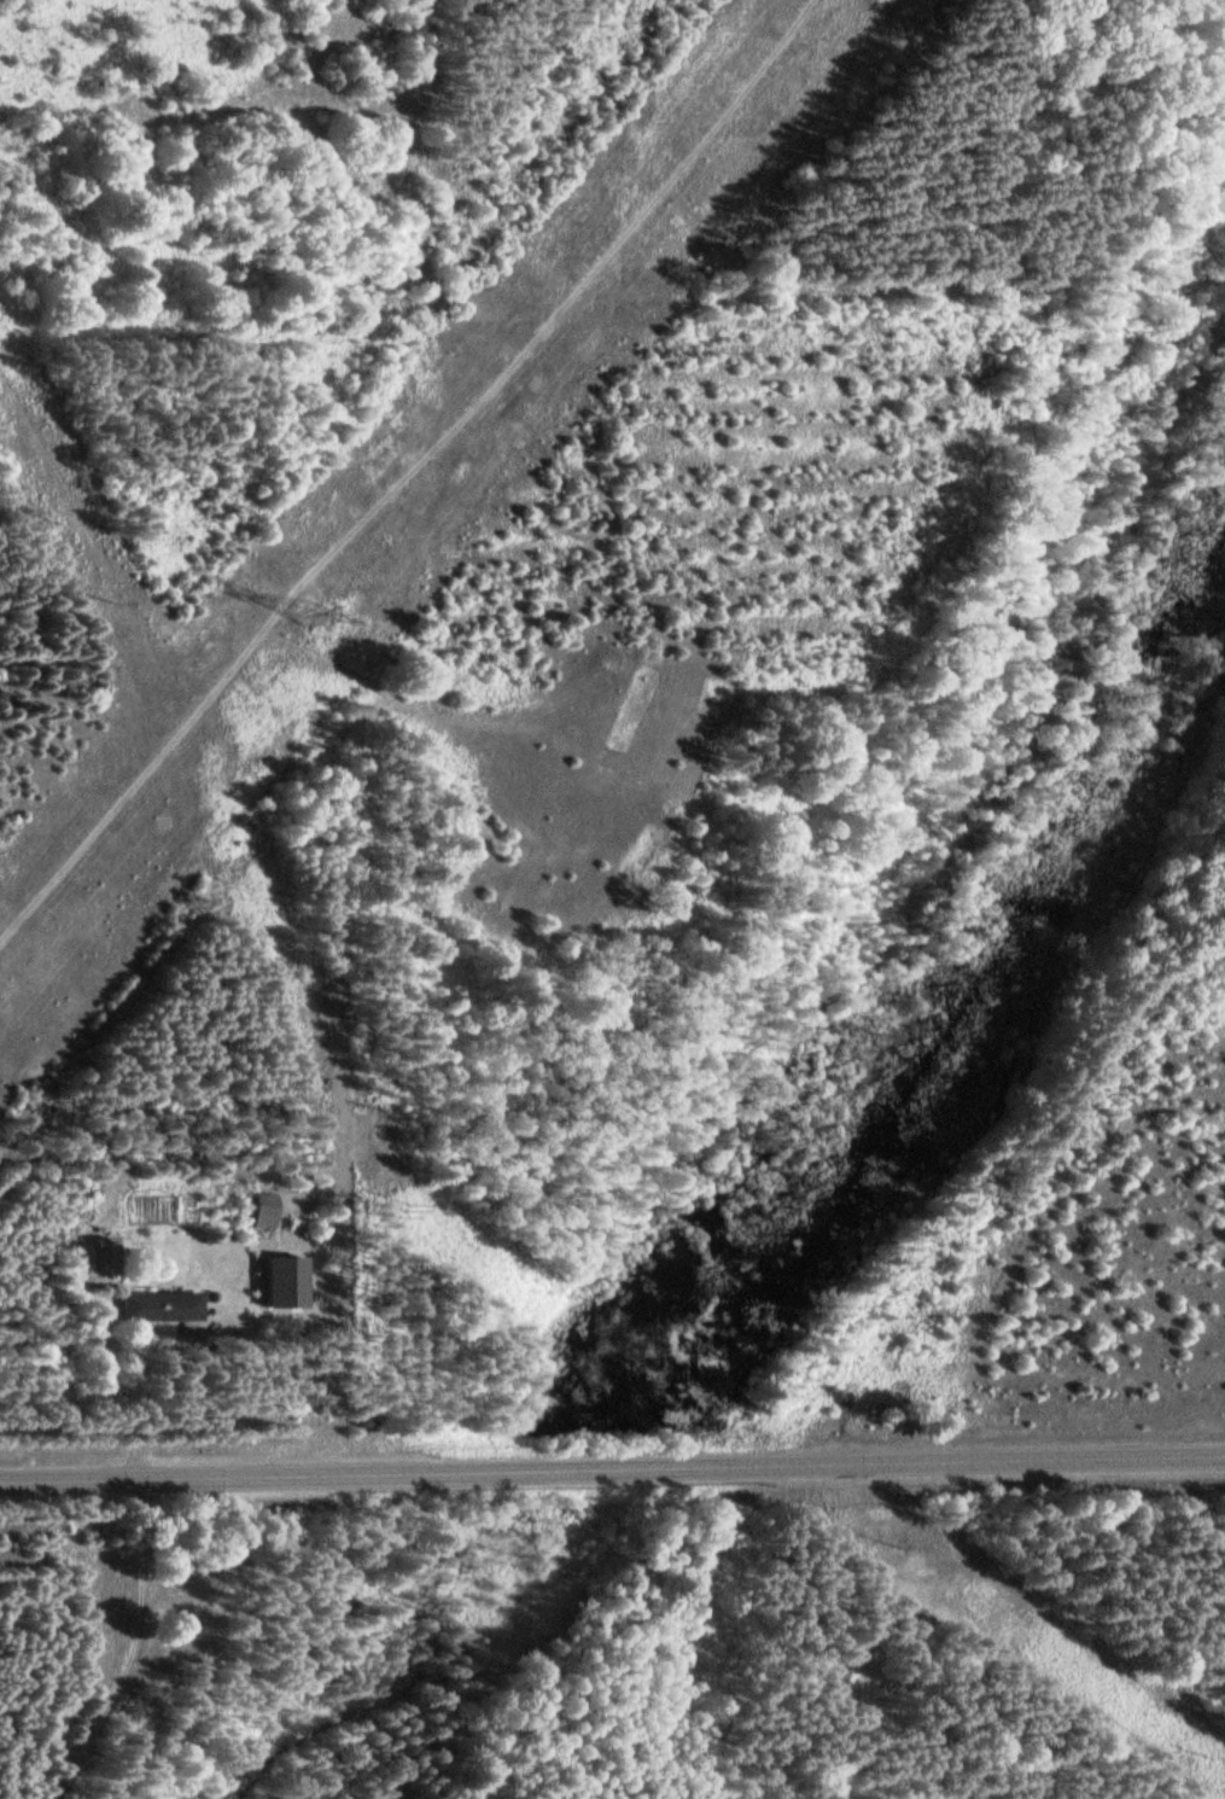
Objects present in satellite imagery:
road: (408, 471)
power tower: (301, 616)
building: (262, 1209)
building: (282, 1279)
building: (158, 1304)
road: (152, 1399)
road: (612, 1469)

